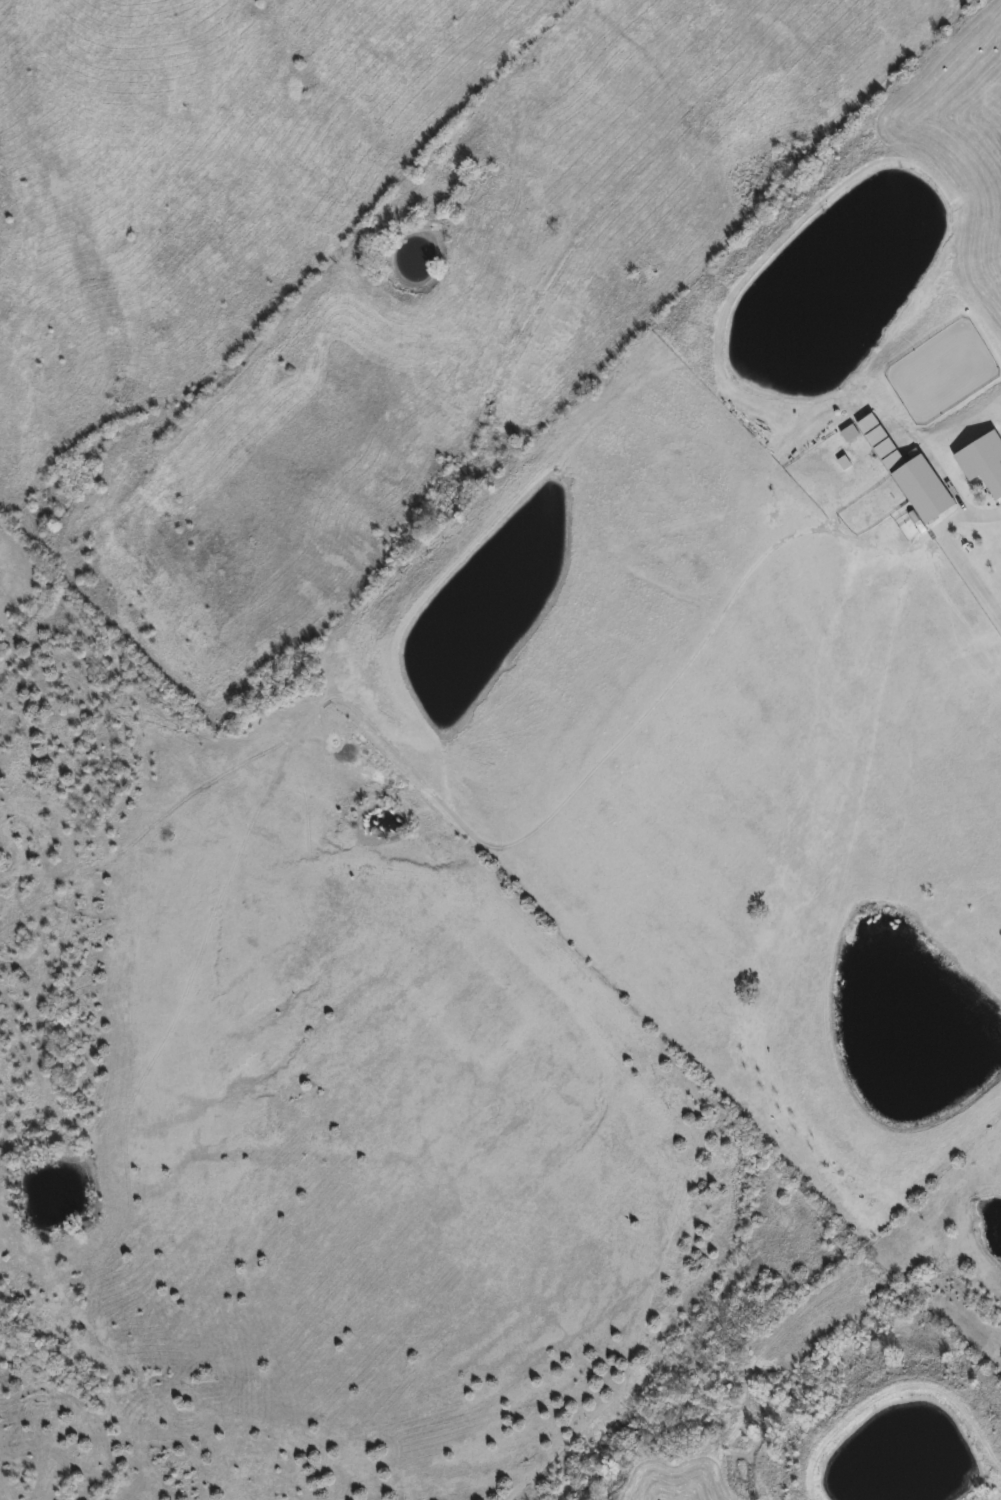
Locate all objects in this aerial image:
building: (994, 481)
road: (957, 482)

